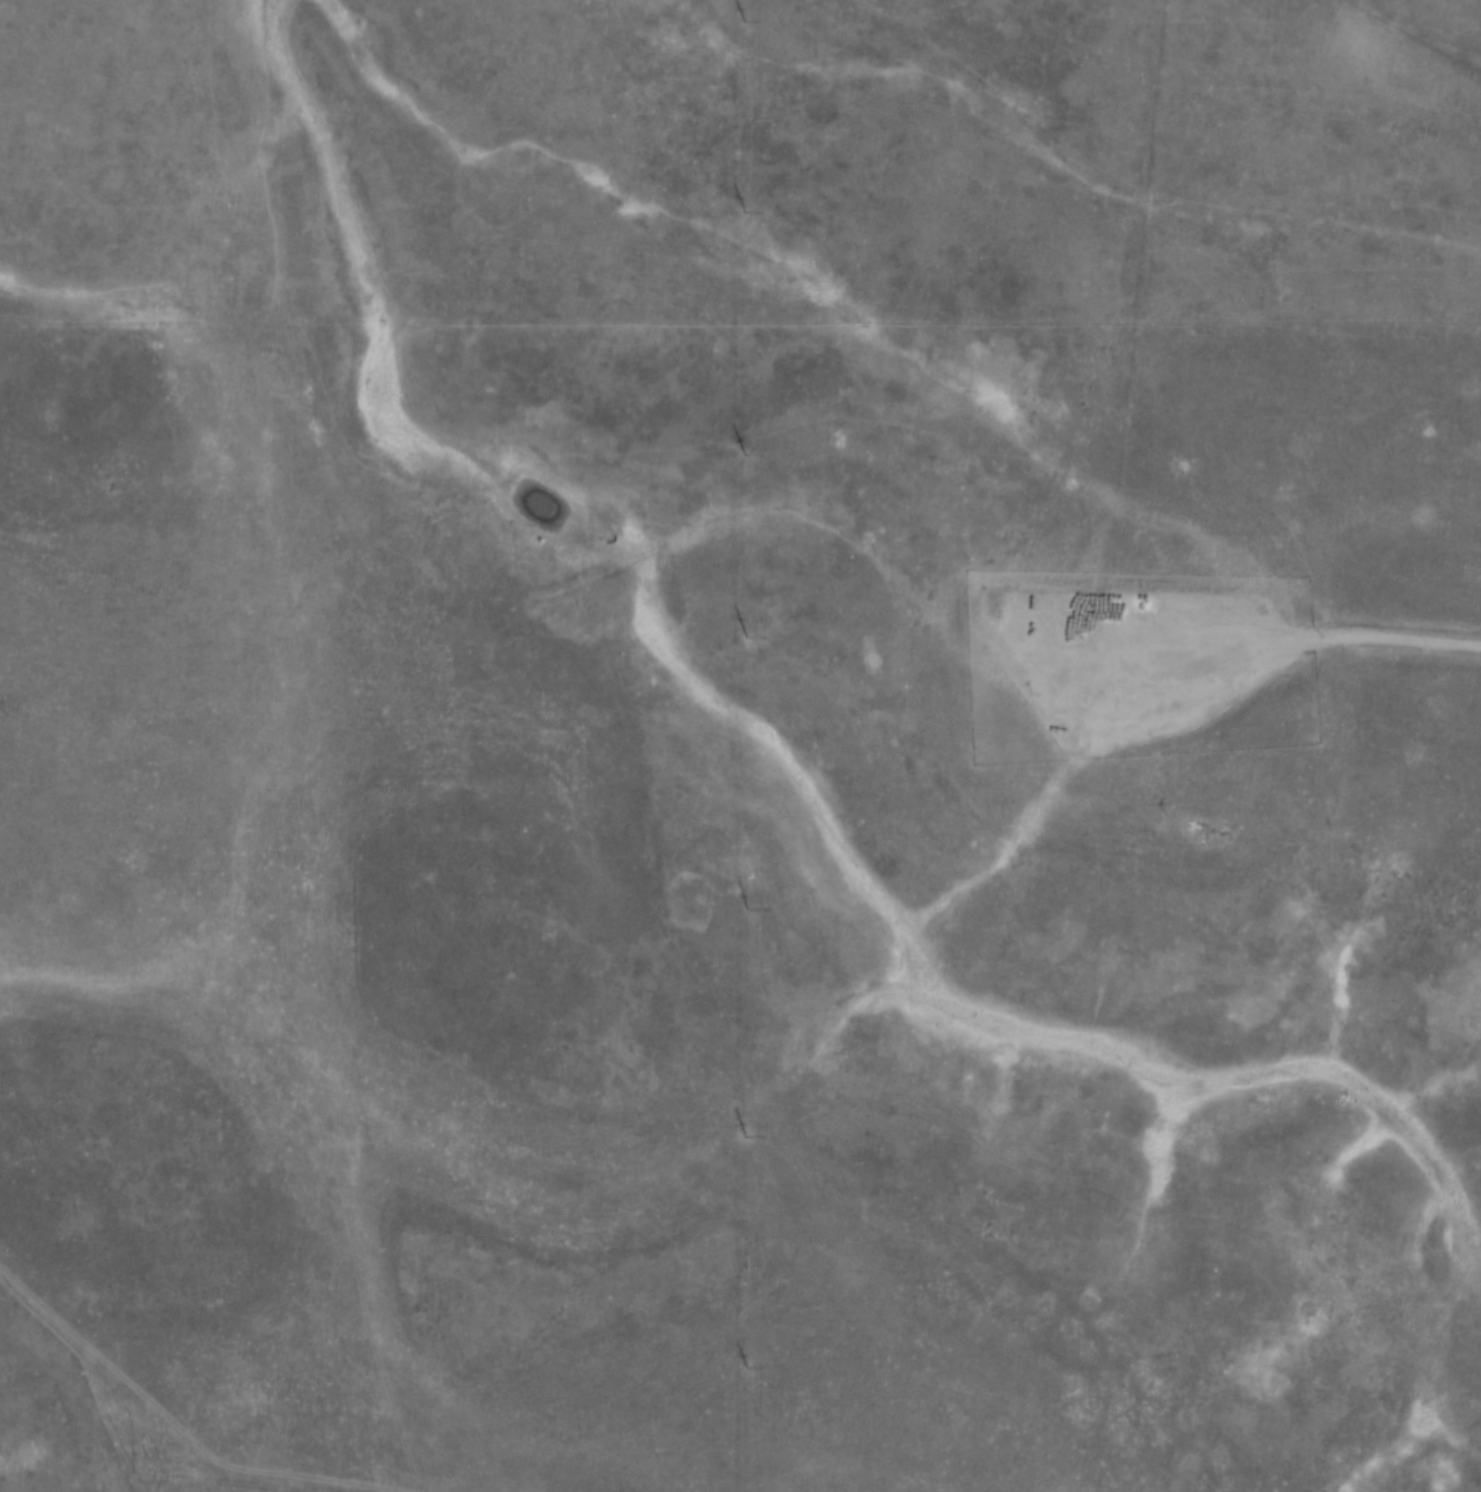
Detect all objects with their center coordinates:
road: (1335, 640)

